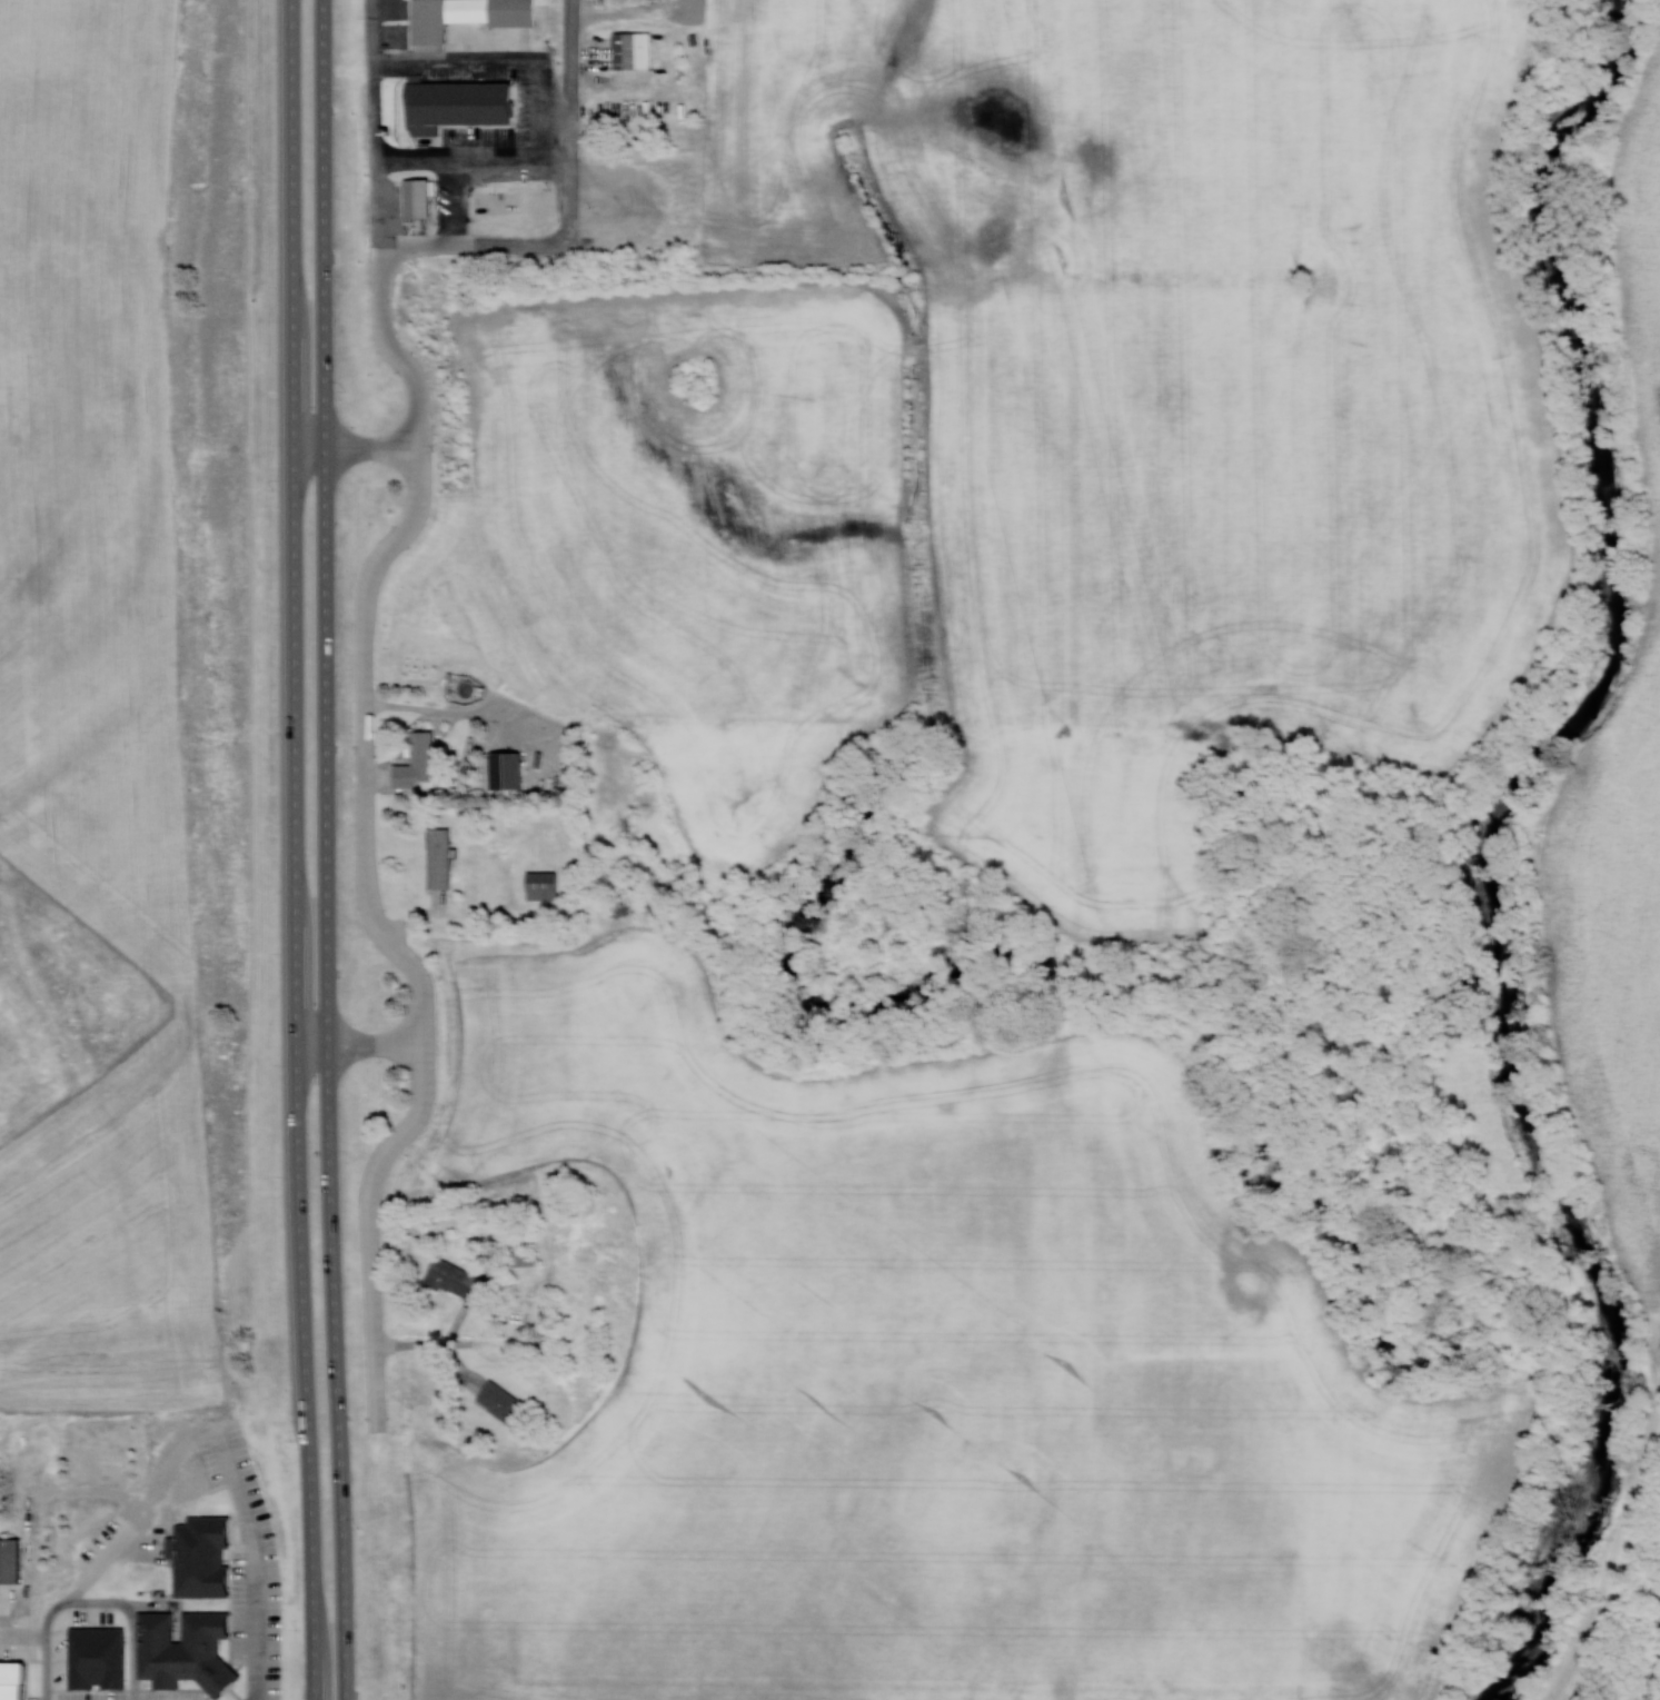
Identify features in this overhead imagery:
building: (630, 1)
building: (469, 17)
building: (636, 49)
building: (461, 103)
road: (370, 120)
road: (564, 121)
building: (423, 197)
building: (504, 200)
road: (468, 241)
road: (355, 449)
road: (326, 633)
road: (296, 636)
building: (427, 755)
crop: (1621, 755)
building: (474, 783)
road: (358, 829)
building: (444, 858)
building: (545, 885)
road: (355, 1034)
building: (526, 1262)
building: (459, 1280)
crop: (934, 1383)
building: (506, 1403)
road: (341, 1482)
road: (311, 1485)
building: (12, 1559)
road: (255, 1562)
building: (189, 1650)
road: (48, 1661)
road: (1654, 1674)

